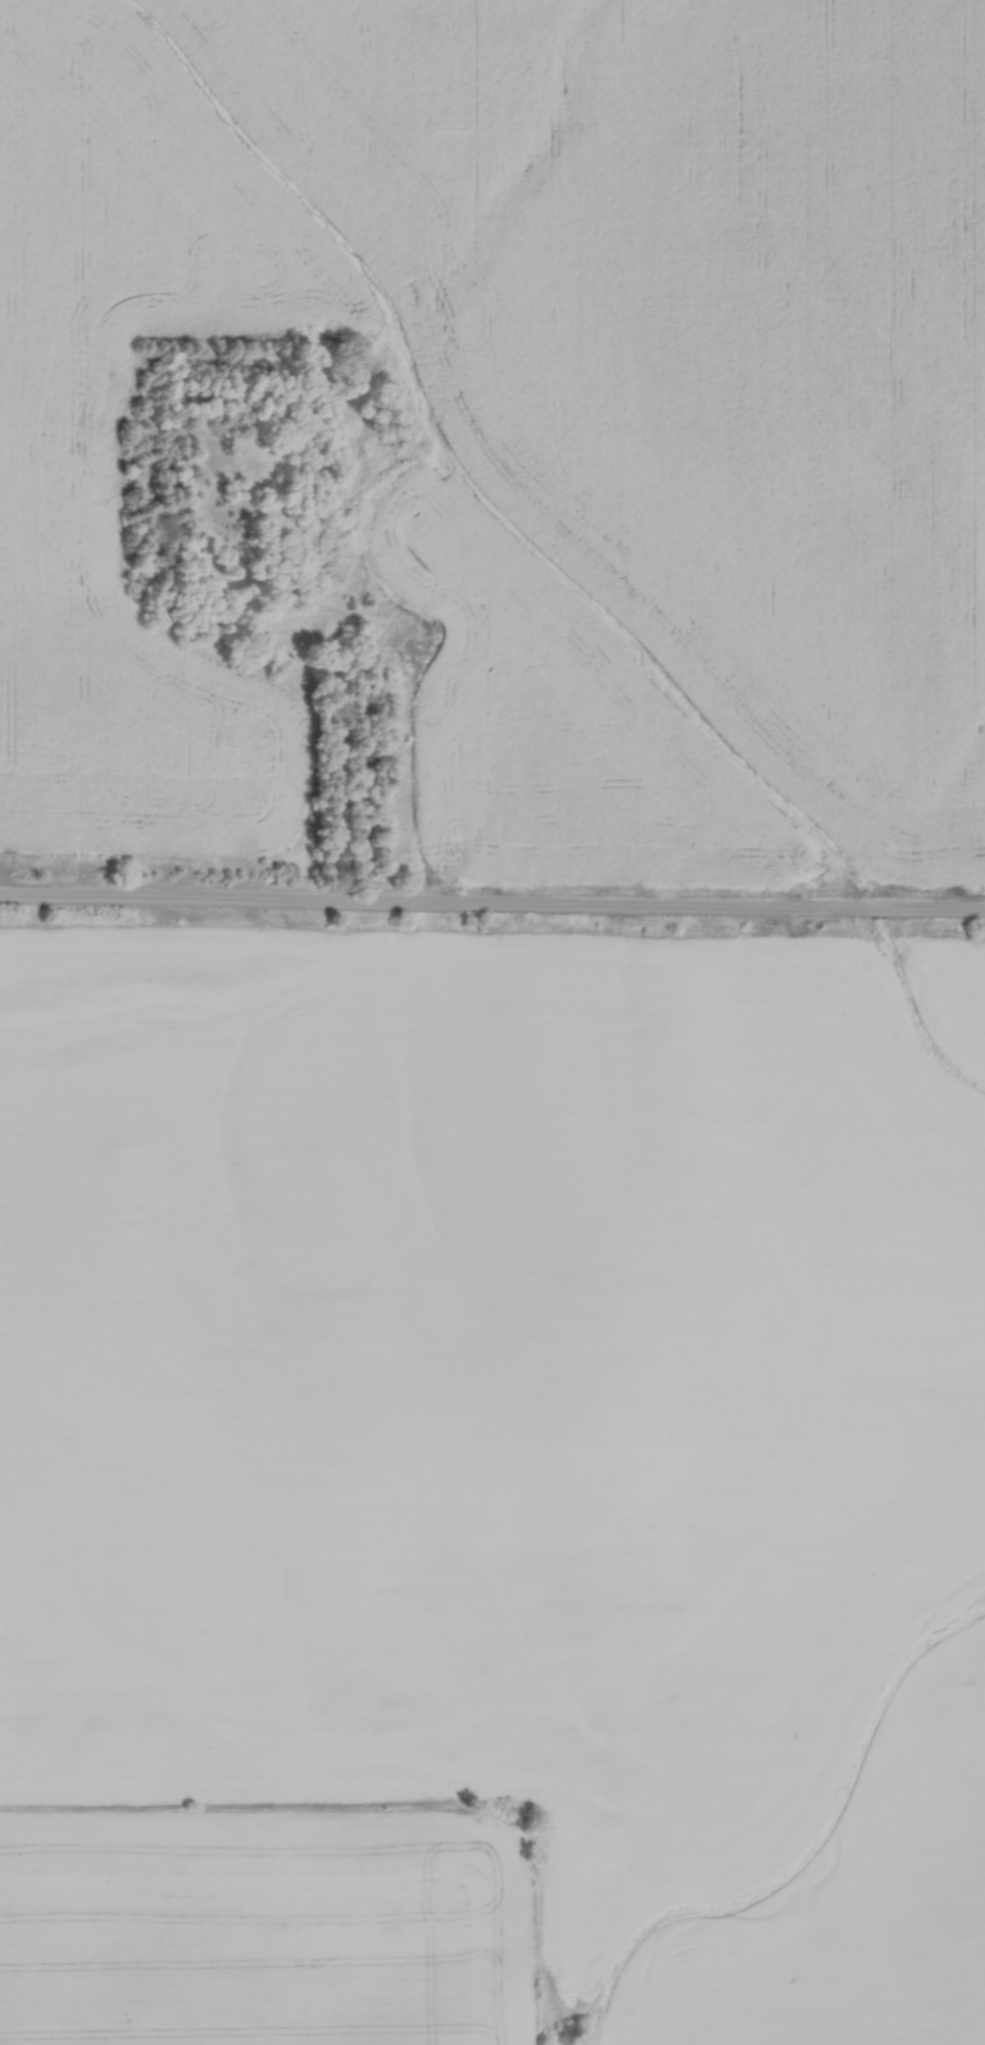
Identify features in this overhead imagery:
road: (432, 722)
road: (492, 908)

